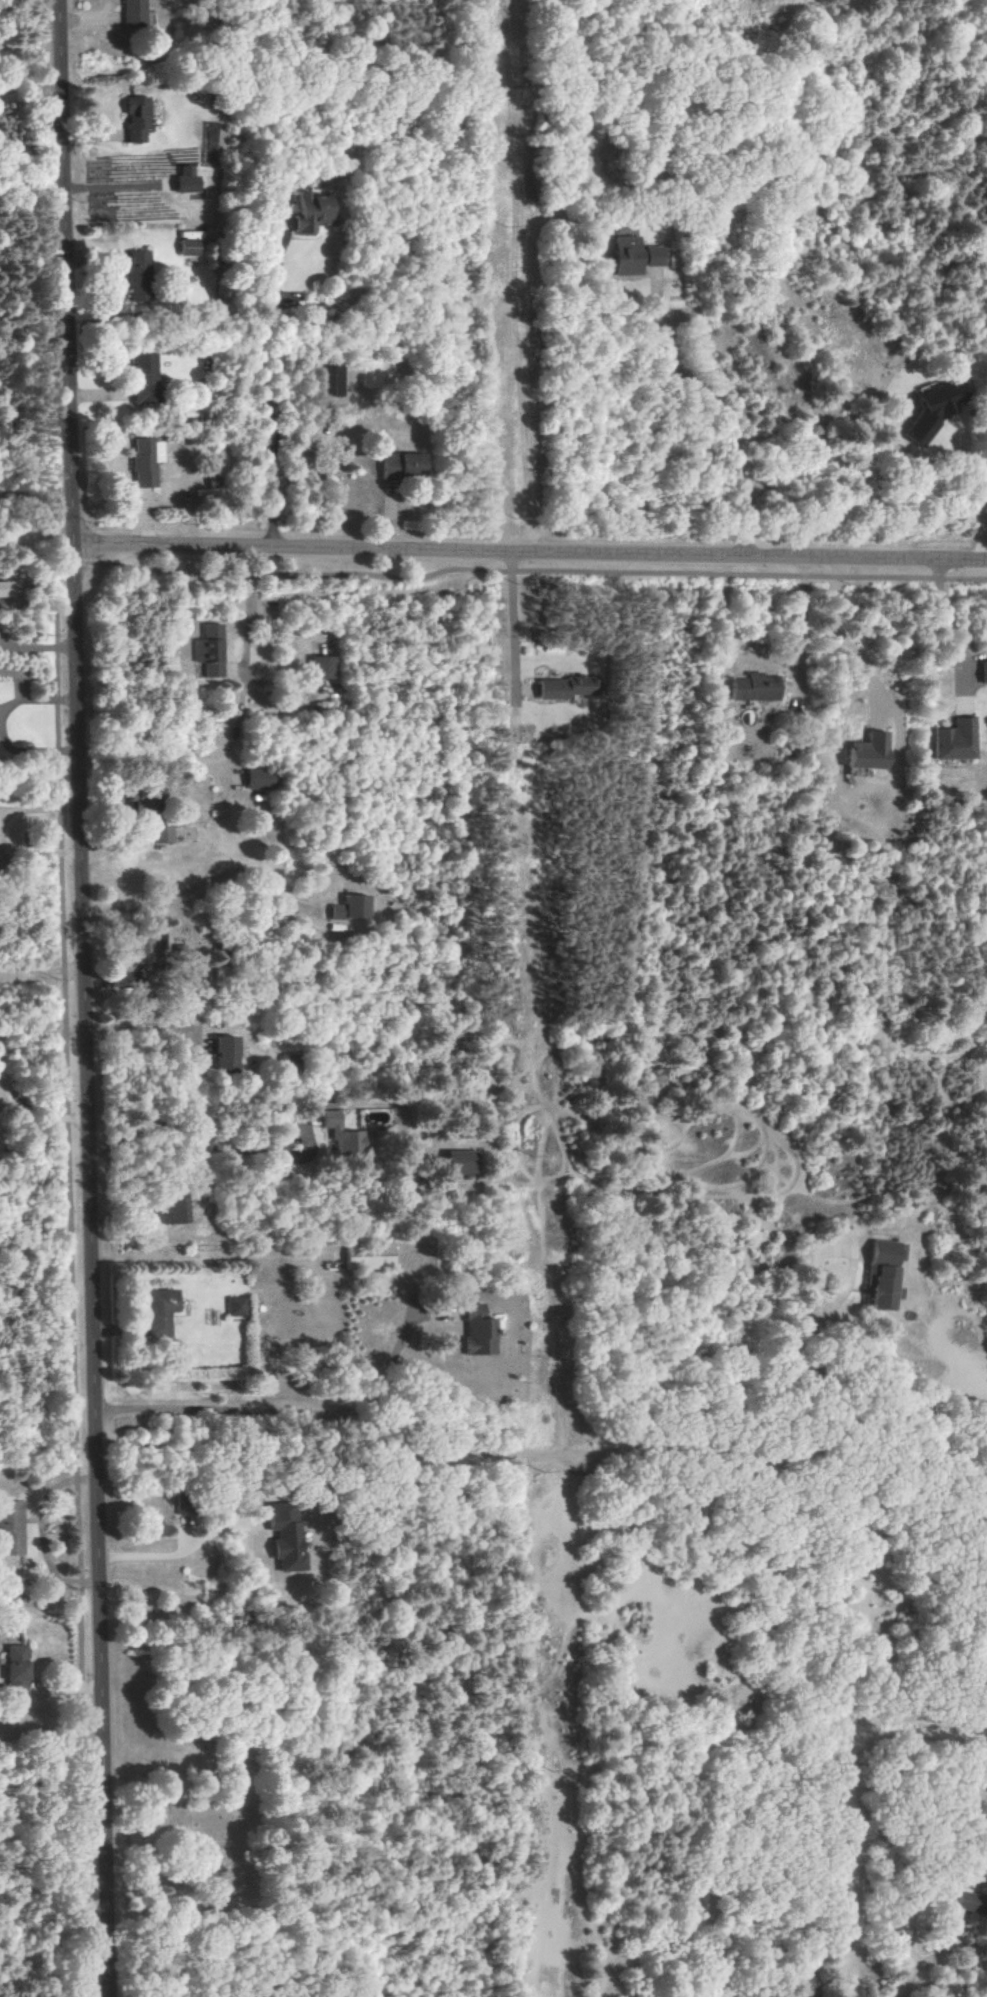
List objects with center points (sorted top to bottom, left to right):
building: (132, 12)
road: (32, 86)
building: (134, 118)
building: (184, 180)
building: (306, 212)
building: (187, 244)
building: (630, 256)
building: (136, 275)
building: (142, 378)
building: (329, 381)
road: (268, 394)
building: (927, 412)
road: (720, 418)
building: (144, 461)
building: (396, 464)
road: (970, 501)
road: (531, 555)
building: (6, 589)
road: (514, 618)
road: (804, 619)
road: (956, 620)
road: (248, 625)
road: (847, 635)
road: (36, 647)
building: (208, 650)
building: (318, 667)
building: (982, 672)
building: (752, 687)
building: (559, 688)
building: (952, 741)
building: (862, 752)
building: (255, 778)
building: (158, 834)
road: (197, 886)
building: (349, 908)
building: (145, 948)
building: (178, 953)
road: (43, 968)
road: (65, 997)
road: (87, 998)
road: (137, 1026)
road: (42, 1032)
building: (224, 1054)
road: (39, 1111)
building: (340, 1134)
road: (187, 1135)
building: (457, 1163)
building: (168, 1211)
building: (368, 1255)
building: (881, 1274)
building: (234, 1307)
building: (159, 1311)
building: (478, 1329)
road: (285, 1412)
road: (527, 1454)
building: (11, 1527)
road: (41, 1531)
building: (283, 1536)
road: (183, 1550)
building: (13, 1670)
park: (204, 1775)
road: (914, 1881)
building: (971, 1911)
building: (806, 1984)

